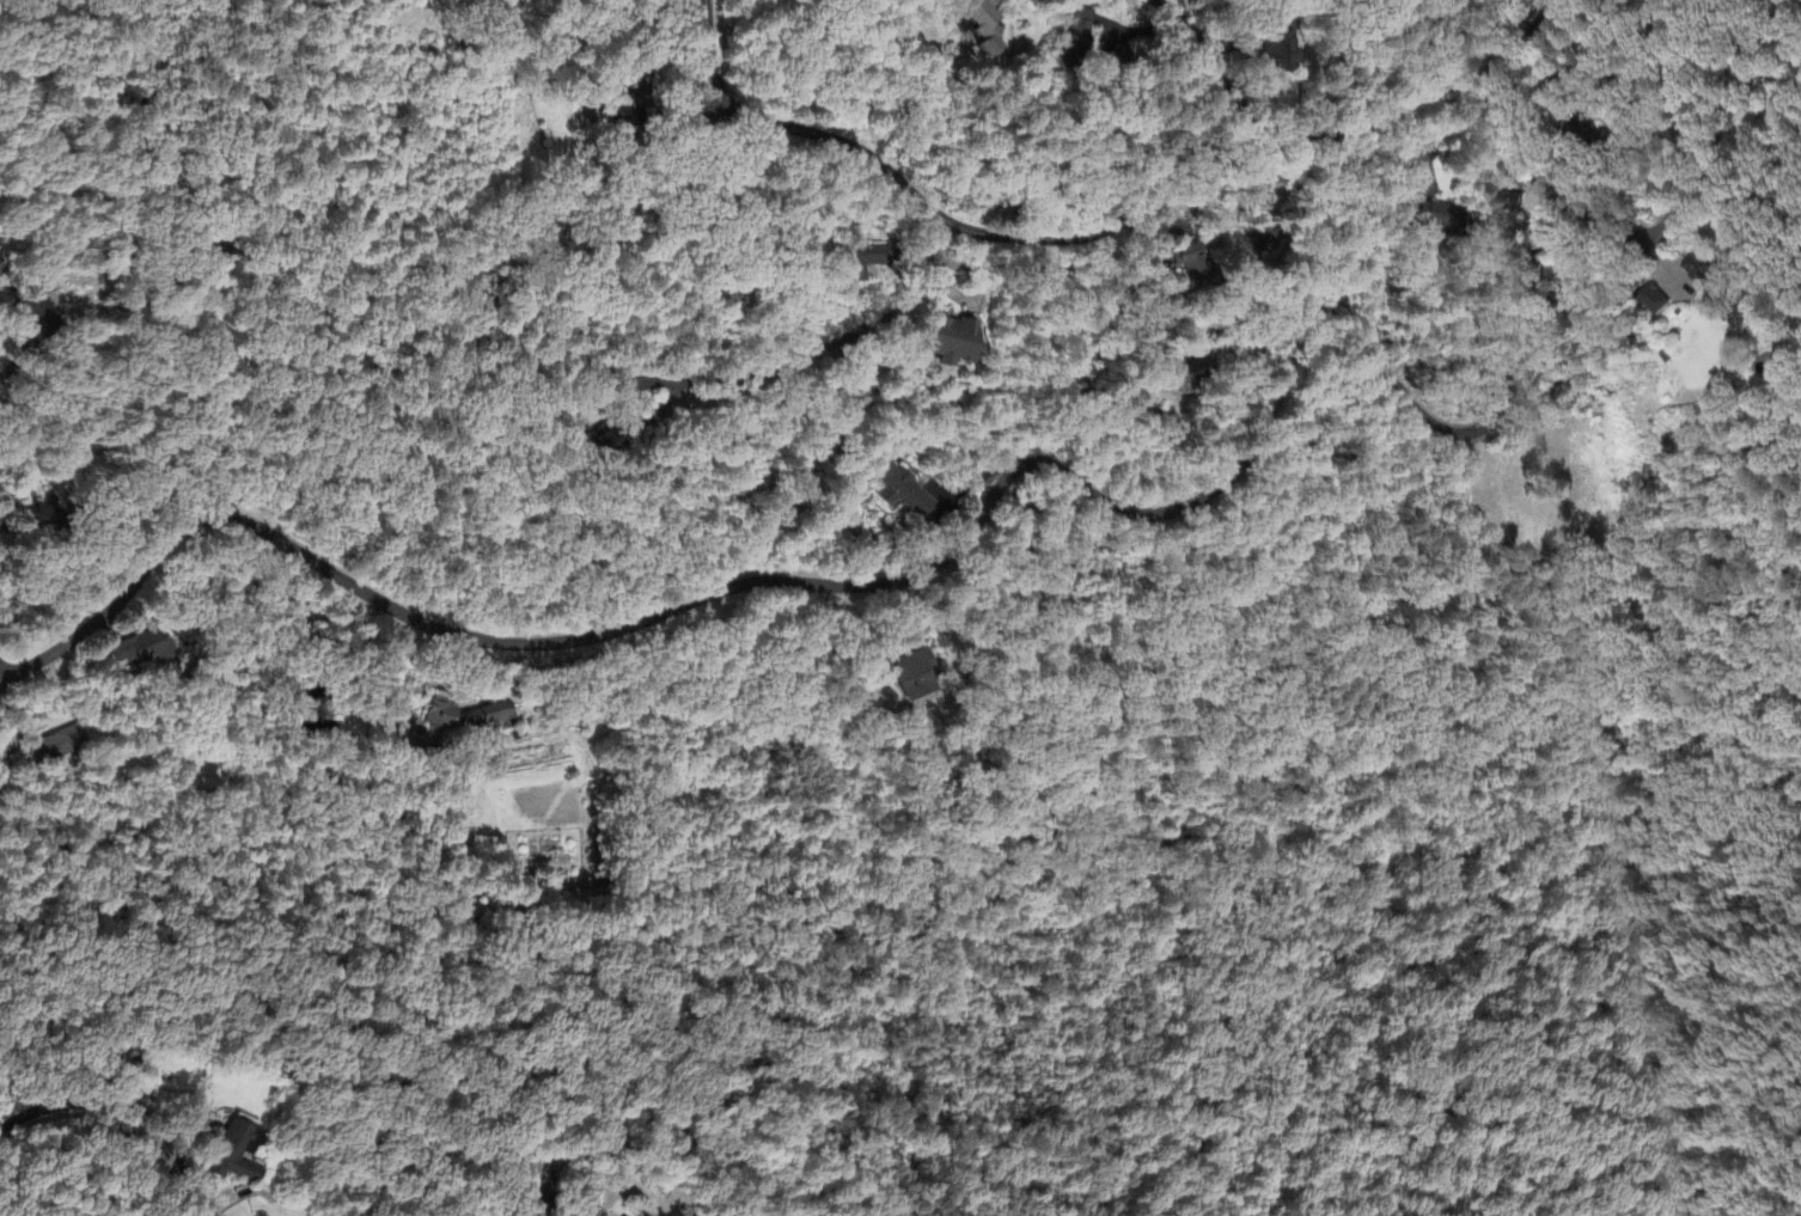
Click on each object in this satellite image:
road: (1185, 10)
building: (985, 25)
building: (1081, 31)
road: (1209, 49)
building: (1281, 53)
road: (1604, 59)
road: (649, 88)
road: (1390, 105)
building: (625, 111)
road: (938, 210)
building: (1434, 220)
building: (866, 262)
road: (1063, 264)
building: (1701, 273)
building: (1, 275)
building: (1657, 301)
building: (43, 312)
building: (1745, 314)
building: (954, 342)
road: (38, 347)
road: (830, 348)
building: (604, 445)
road: (1011, 479)
building: (902, 493)
building: (145, 650)
road: (10, 668)
building: (912, 677)
building: (466, 716)
building: (62, 746)
road: (130, 1107)
building: (238, 1155)
road: (641, 1193)

